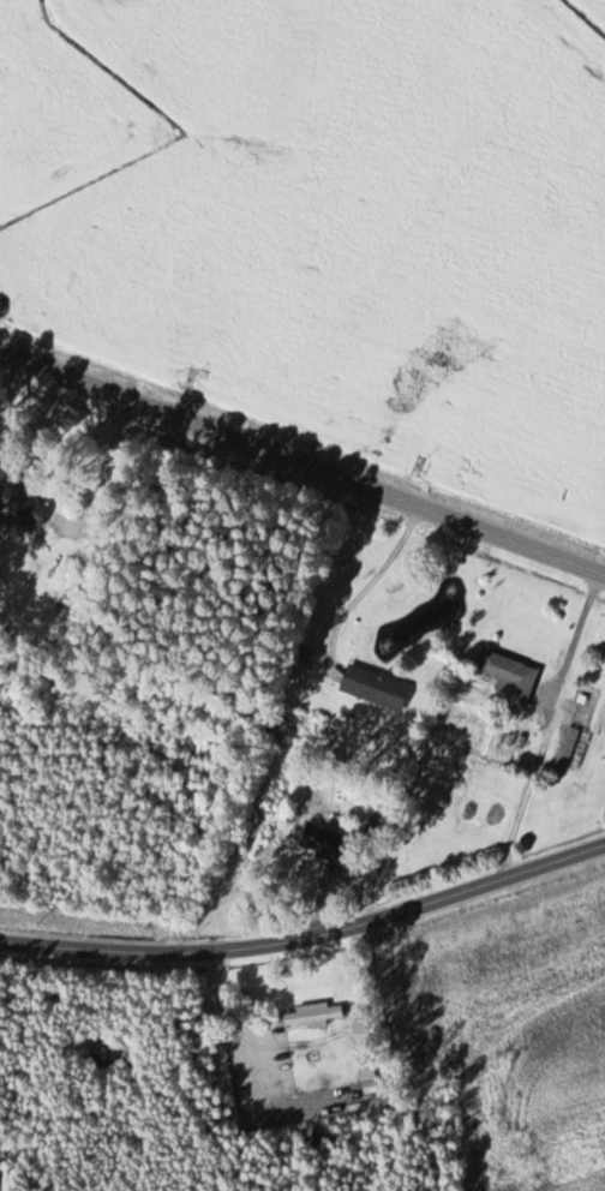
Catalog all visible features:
road: (302, 462)
building: (509, 678)
building: (375, 689)
building: (567, 747)
building: (325, 842)
road: (309, 938)
building: (315, 1018)

